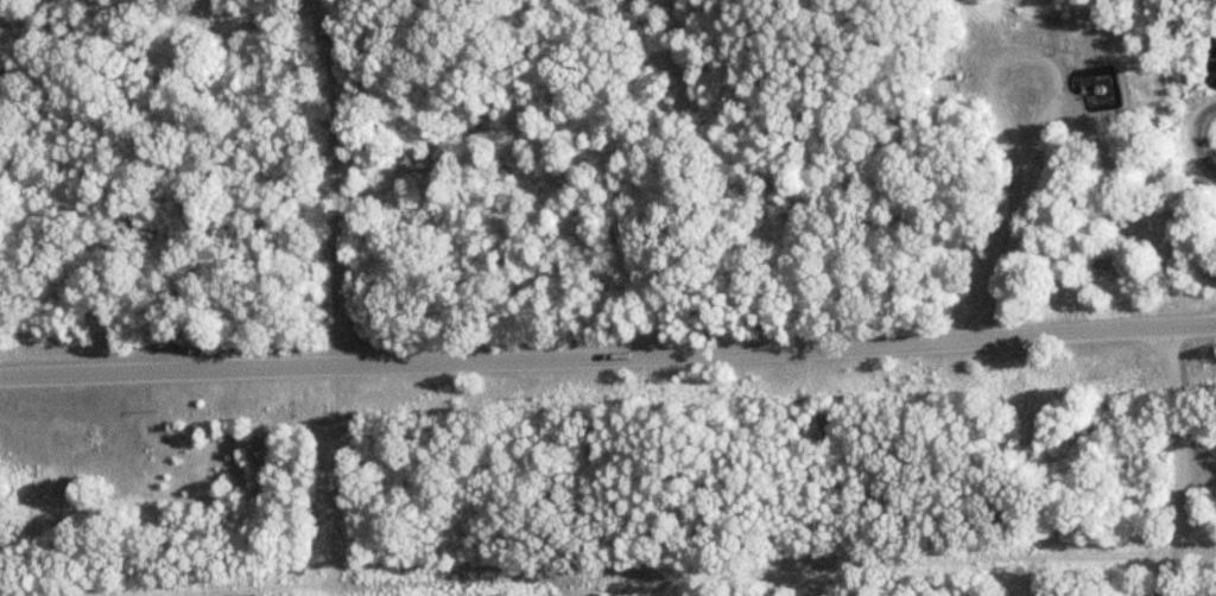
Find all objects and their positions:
building: (1215, 57)
road: (1192, 142)
road: (607, 348)
building: (89, 437)
road: (1165, 461)

